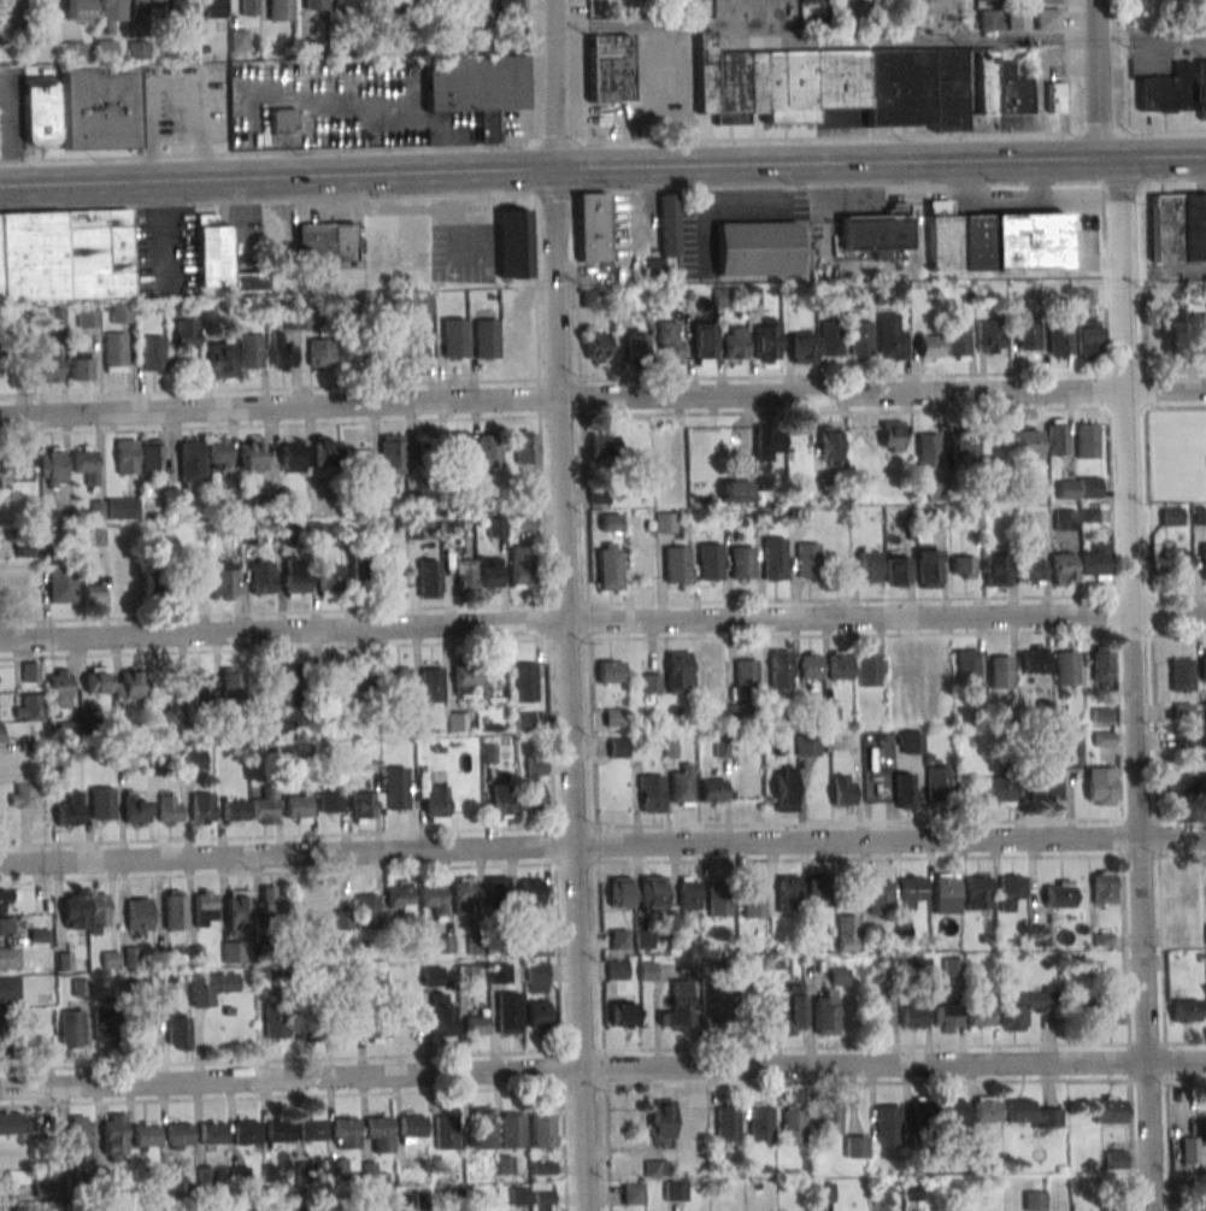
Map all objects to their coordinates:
building: (987, 0)
building: (808, 1)
building: (1046, 1)
building: (313, 4)
building: (346, 4)
building: (431, 5)
building: (481, 5)
building: (181, 6)
building: (145, 7)
building: (249, 7)
building: (214, 8)
building: (281, 10)
building: (78, 11)
building: (112, 11)
building: (508, 11)
building: (988, 19)
building: (1017, 19)
building: (1047, 19)
road: (1152, 37)
building: (239, 40)
road: (825, 41)
building: (72, 51)
road: (1125, 65)
building: (610, 67)
road: (583, 70)
road: (1098, 78)
building: (831, 84)
building: (477, 88)
building: (1201, 89)
building: (1166, 90)
building: (1001, 93)
building: (1055, 98)
building: (98, 105)
building: (41, 111)
building: (283, 120)
road: (602, 139)
road: (602, 166)
building: (669, 225)
building: (592, 227)
building: (1178, 228)
building: (877, 230)
building: (325, 241)
building: (995, 241)
building: (513, 243)
building: (757, 248)
building: (65, 255)
building: (219, 259)
building: (852, 296)
building: (420, 302)
building: (122, 313)
building: (58, 317)
building: (87, 317)
building: (311, 319)
building: (184, 330)
building: (1199, 330)
building: (1028, 333)
building: (890, 335)
building: (989, 336)
building: (453, 337)
building: (486, 337)
building: (830, 337)
building: (958, 337)
building: (1088, 337)
building: (860, 339)
building: (766, 340)
building: (670, 342)
building: (636, 343)
building: (704, 343)
building: (735, 343)
building: (1059, 343)
building: (929, 346)
building: (251, 347)
building: (596, 347)
building: (799, 347)
building: (153, 349)
building: (114, 352)
building: (320, 352)
building: (281, 353)
building: (414, 354)
building: (222, 358)
building: (48, 364)
building: (18, 366)
building: (77, 366)
road: (602, 378)
road: (602, 398)
road: (602, 415)
building: (892, 436)
building: (1057, 436)
building: (1087, 440)
building: (767, 441)
building: (604, 442)
building: (830, 446)
building: (526, 447)
building: (961, 447)
building: (1026, 447)
building: (459, 448)
building: (928, 449)
building: (490, 451)
building: (218, 453)
building: (392, 454)
building: (252, 457)
building: (125, 458)
building: (324, 458)
building: (151, 459)
building: (192, 462)
building: (86, 463)
building: (292, 463)
building: (51, 466)
building: (1089, 487)
building: (1066, 489)
building: (736, 492)
building: (599, 496)
building: (114, 508)
building: (1171, 516)
building: (1035, 518)
building: (931, 519)
building: (1065, 521)
building: (611, 522)
building: (665, 522)
building: (523, 523)
building: (495, 527)
building: (252, 535)
building: (807, 560)
building: (1095, 560)
building: (1177, 560)
building: (710, 562)
building: (773, 562)
building: (1204, 562)
building: (742, 563)
building: (676, 565)
building: (522, 566)
building: (869, 566)
building: (929, 566)
building: (961, 566)
building: (1063, 569)
building: (608, 570)
building: (995, 570)
building: (1031, 570)
building: (896, 571)
building: (261, 574)
building: (464, 574)
building: (361, 575)
building: (490, 575)
building: (223, 578)
building: (428, 578)
building: (329, 580)
building: (295, 581)
building: (61, 584)
building: (154, 584)
building: (92, 590)
road: (565, 605)
road: (602, 621)
building: (1036, 660)
building: (1102, 664)
building: (810, 665)
building: (841, 665)
building: (967, 665)
building: (678, 669)
building: (780, 669)
building: (1065, 669)
building: (1204, 669)
building: (867, 670)
building: (31, 671)
building: (611, 671)
building: (1000, 674)
building: (1182, 675)
building: (465, 677)
building: (746, 677)
building: (98, 680)
building: (365, 681)
building: (524, 682)
building: (651, 683)
road: (1135, 683)
building: (130, 684)
building: (199, 684)
building: (233, 684)
building: (431, 684)
building: (298, 686)
building: (398, 687)
building: (60, 688)
building: (333, 690)
building: (28, 707)
building: (739, 712)
building: (524, 721)
building: (461, 722)
building: (282, 729)
building: (67, 731)
building: (1, 733)
building: (1105, 739)
building: (908, 742)
building: (807, 746)
building: (618, 748)
building: (1067, 757)
building: (160, 764)
building: (533, 783)
building: (1204, 783)
building: (937, 784)
building: (1100, 786)
building: (1179, 786)
building: (681, 787)
building: (395, 788)
building: (1045, 788)
building: (784, 789)
building: (842, 790)
building: (904, 790)
building: (999, 790)
building: (712, 792)
building: (25, 794)
building: (652, 796)
building: (330, 800)
building: (502, 800)
building: (102, 803)
building: (436, 803)
building: (202, 807)
building: (265, 809)
building: (298, 809)
building: (71, 810)
building: (169, 810)
building: (134, 811)
building: (236, 812)
road: (602, 845)
building: (1104, 882)
building: (913, 887)
building: (1188, 888)
building: (822, 889)
building: (789, 890)
building: (1059, 893)
building: (978, 894)
building: (1013, 894)
building: (653, 895)
building: (946, 895)
building: (434, 897)
building: (498, 897)
building: (620, 897)
building: (688, 897)
building: (881, 897)
building: (8, 898)
building: (531, 898)
building: (400, 899)
building: (753, 899)
building: (272, 900)
building: (718, 900)
building: (465, 901)
building: (202, 907)
building: (239, 909)
building: (175, 910)
building: (73, 911)
building: (98, 913)
building: (139, 915)
building: (367, 915)
building: (6, 927)
building: (846, 933)
building: (1178, 935)
building: (619, 939)
building: (445, 943)
building: (233, 952)
building: (10, 958)
building: (952, 966)
building: (617, 970)
building: (647, 971)
building: (499, 972)
building: (433, 976)
building: (839, 976)
building: (536, 977)
building: (81, 987)
building: (211, 987)
building: (10, 988)
building: (717, 999)
building: (678, 1007)
building: (1028, 1007)
building: (792, 1010)
building: (1184, 1010)
building: (508, 1012)
building: (982, 1012)
building: (624, 1013)
building: (826, 1013)
building: (1104, 1013)
building: (442, 1015)
building: (537, 1015)
building: (913, 1015)
building: (881, 1017)
building: (947, 1018)
building: (276, 1019)
building: (306, 1019)
building: (2, 1022)
building: (72, 1023)
building: (477, 1023)
building: (343, 1024)
building: (102, 1027)
building: (377, 1028)
building: (178, 1030)
building: (2, 1053)
road: (602, 1066)
building: (987, 1109)
building: (1108, 1110)
building: (1031, 1115)
building: (922, 1117)
building: (954, 1118)
building: (829, 1119)
building: (661, 1122)
building: (11, 1123)
building: (888, 1123)
building: (761, 1124)
building: (412, 1125)
building: (725, 1125)
building: (794, 1125)
building: (312, 1128)
building: (482, 1128)
building: (1202, 1129)
building: (512, 1130)
building: (542, 1130)
building: (446, 1131)
building: (212, 1133)
building: (246, 1133)
building: (278, 1133)
building: (346, 1133)
building: (146, 1134)
building: (380, 1134)
building: (178, 1135)
building: (82, 1136)
building: (114, 1139)
building: (855, 1146)
building: (1188, 1151)
building: (1114, 1159)
building: (504, 1164)
building: (652, 1168)
building: (339, 1169)
building: (543, 1169)
building: (241, 1175)
building: (206, 1176)
building: (5, 1182)
building: (45, 1188)
building: (675, 1191)
building: (912, 1191)
building: (822, 1192)
building: (633, 1193)
building: (519, 1195)
building: (543, 1198)
building: (1034, 1201)
building: (387, 1203)

